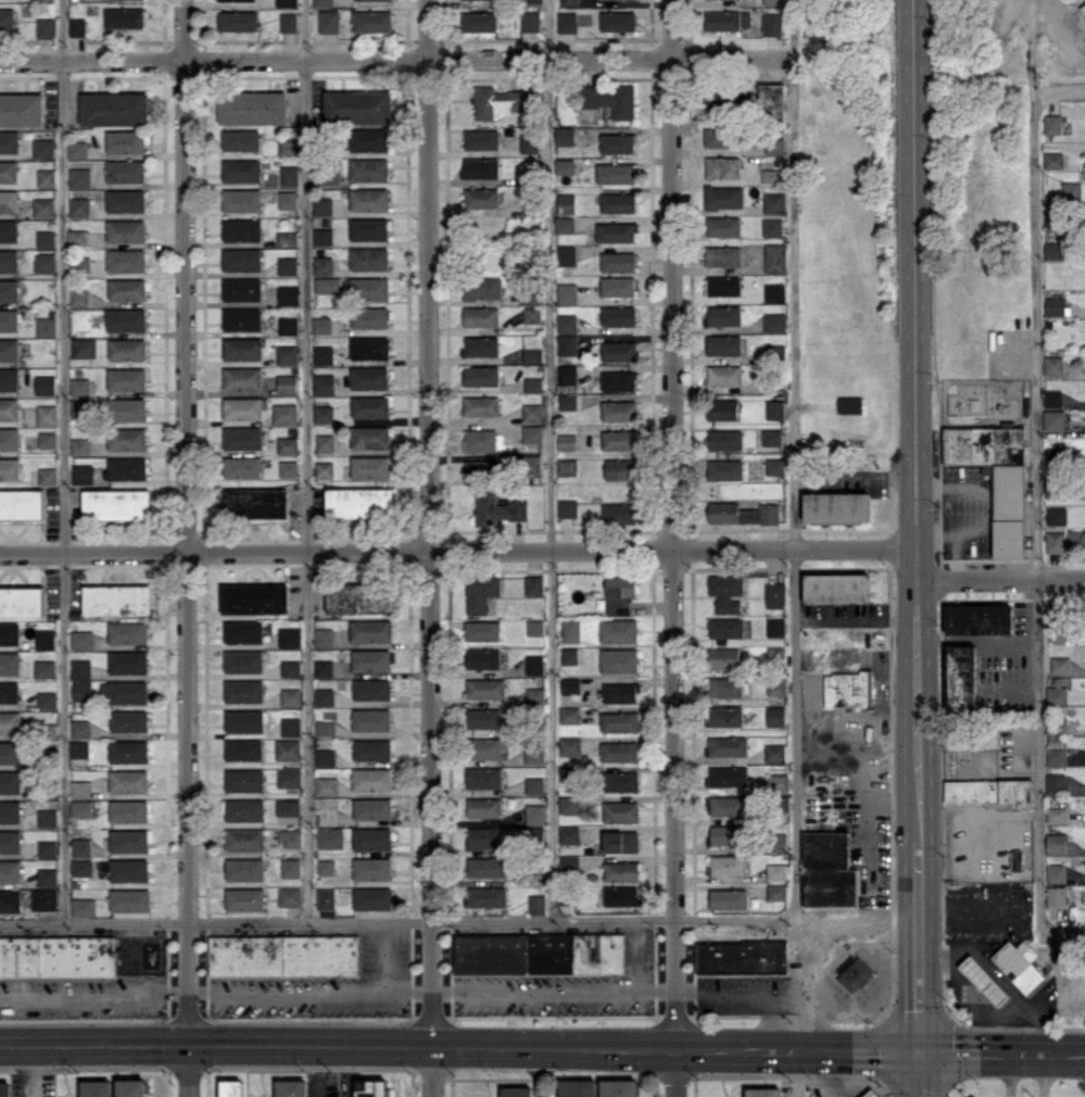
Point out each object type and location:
building: (234, 0)
building: (772, 1)
building: (287, 2)
building: (323, 2)
building: (569, 2)
building: (124, 17)
building: (7, 18)
road: (1068, 18)
building: (727, 20)
building: (238, 21)
building: (328, 21)
building: (371, 21)
building: (478, 21)
building: (529, 21)
building: (617, 21)
building: (288, 22)
building: (566, 22)
building: (771, 24)
building: (77, 26)
building: (46, 27)
road: (395, 60)
road: (1060, 91)
building: (610, 99)
building: (770, 100)
building: (499, 101)
building: (252, 106)
building: (357, 106)
building: (114, 108)
building: (22, 109)
building: (1052, 124)
building: (564, 135)
building: (719, 137)
building: (241, 139)
building: (368, 139)
building: (480, 139)
building: (9, 141)
building: (126, 141)
building: (529, 142)
building: (617, 142)
building: (773, 146)
building: (288, 147)
building: (43, 148)
building: (78, 149)
building: (1054, 160)
building: (564, 165)
building: (722, 166)
building: (480, 167)
building: (241, 169)
building: (369, 169)
building: (9, 171)
building: (126, 171)
building: (615, 173)
building: (289, 175)
building: (770, 175)
building: (326, 176)
building: (47, 177)
building: (80, 178)
building: (1071, 189)
building: (481, 197)
building: (723, 197)
building: (287, 199)
building: (369, 199)
building: (126, 200)
building: (242, 200)
building: (9, 201)
building: (566, 202)
building: (618, 202)
building: (773, 202)
building: (323, 205)
building: (45, 206)
building: (79, 206)
building: (564, 224)
building: (723, 226)
building: (771, 226)
building: (369, 228)
building: (242, 229)
building: (9, 230)
building: (126, 230)
building: (616, 231)
building: (323, 236)
building: (77, 237)
building: (46, 238)
building: (287, 238)
building: (1055, 250)
building: (566, 255)
building: (722, 255)
building: (774, 257)
building: (242, 259)
building: (369, 259)
building: (126, 260)
building: (9, 261)
building: (45, 262)
building: (618, 262)
building: (80, 265)
building: (288, 265)
building: (323, 265)
building: (327, 285)
building: (618, 286)
building: (722, 286)
building: (242, 288)
building: (369, 288)
building: (482, 288)
building: (127, 289)
building: (9, 290)
building: (567, 292)
building: (774, 292)
building: (288, 294)
building: (79, 297)
building: (1055, 305)
building: (532, 315)
building: (618, 315)
building: (724, 315)
building: (481, 316)
building: (370, 317)
building: (242, 318)
building: (9, 319)
building: (126, 319)
building: (774, 321)
building: (567, 323)
building: (288, 325)
building: (321, 325)
building: (47, 326)
building: (567, 344)
building: (723, 344)
building: (481, 345)
building: (84, 348)
building: (242, 348)
building: (370, 348)
building: (532, 348)
building: (9, 349)
building: (127, 349)
building: (619, 351)
building: (287, 354)
building: (324, 354)
building: (1052, 366)
building: (568, 374)
building: (724, 375)
building: (481, 376)
building: (369, 377)
building: (9, 378)
building: (242, 378)
building: (127, 379)
building: (618, 380)
building: (288, 383)
building: (324, 383)
building: (46, 384)
building: (533, 384)
building: (80, 386)
building: (1052, 398)
building: (568, 401)
building: (849, 404)
building: (481, 405)
building: (370, 406)
building: (79, 407)
building: (10, 408)
building: (774, 408)
building: (127, 409)
building: (260, 409)
building: (722, 409)
building: (619, 411)
building: (532, 412)
building: (47, 414)
building: (324, 414)
building: (1054, 419)
road: (916, 420)
building: (532, 433)
building: (370, 437)
building: (772, 437)
building: (243, 438)
building: (9, 439)
building: (48, 439)
building: (127, 439)
building: (724, 439)
building: (482, 440)
building: (619, 440)
building: (567, 441)
building: (326, 443)
building: (288, 444)
building: (80, 445)
road: (793, 459)
road: (63, 461)
road: (305, 461)
road: (555, 461)
building: (531, 464)
building: (774, 466)
building: (242, 467)
building: (370, 467)
building: (568, 467)
building: (10, 468)
building: (127, 468)
building: (289, 468)
building: (481, 468)
building: (621, 468)
building: (724, 469)
building: (325, 470)
building: (83, 474)
building: (48, 475)
building: (996, 476)
building: (359, 502)
building: (22, 503)
building: (116, 503)
building: (254, 503)
road: (987, 505)
building: (838, 506)
building: (567, 507)
building: (499, 508)
road: (1040, 512)
building: (619, 513)
building: (742, 513)
building: (1057, 515)
road: (187, 522)
road: (430, 524)
road: (673, 525)
building: (1083, 534)
building: (1055, 541)
road: (457, 550)
road: (1000, 579)
building: (534, 585)
building: (837, 588)
building: (481, 592)
building: (727, 592)
building: (620, 594)
building: (775, 594)
building: (361, 597)
building: (255, 598)
building: (117, 600)
building: (22, 601)
road: (855, 615)
building: (980, 619)
building: (535, 627)
building: (726, 627)
building: (775, 627)
building: (371, 630)
building: (482, 630)
building: (571, 630)
building: (619, 630)
building: (244, 631)
building: (128, 632)
building: (10, 633)
building: (290, 636)
building: (324, 636)
road: (1005, 638)
building: (46, 639)
building: (83, 639)
building: (570, 655)
building: (724, 657)
building: (483, 658)
building: (244, 660)
building: (371, 660)
building: (619, 660)
building: (128, 661)
building: (10, 663)
building: (534, 664)
building: (1061, 665)
building: (45, 668)
building: (80, 668)
building: (291, 668)
building: (324, 668)
building: (961, 677)
building: (777, 684)
building: (570, 685)
building: (726, 686)
building: (485, 688)
building: (373, 689)
building: (848, 689)
building: (81, 690)
building: (126, 691)
building: (244, 691)
road: (1034, 691)
building: (9, 692)
building: (620, 692)
building: (1057, 694)
building: (535, 695)
building: (291, 696)
building: (325, 696)
building: (47, 699)
building: (569, 715)
building: (727, 716)
building: (775, 716)
building: (371, 719)
building: (483, 719)
building: (129, 720)
building: (244, 720)
building: (619, 721)
building: (10, 722)
building: (291, 727)
building: (80, 728)
building: (326, 728)
building: (570, 745)
building: (728, 745)
building: (485, 747)
building: (79, 748)
building: (373, 748)
building: (244, 749)
building: (288, 749)
building: (129, 751)
building: (11, 752)
building: (619, 752)
building: (775, 753)
building: (1057, 754)
building: (534, 755)
building: (325, 757)
building: (728, 776)
building: (484, 777)
building: (289, 778)
building: (371, 779)
building: (244, 780)
building: (129, 781)
building: (621, 781)
building: (10, 782)
building: (779, 782)
building: (1056, 783)
building: (534, 784)
building: (327, 785)
building: (80, 789)
building: (1015, 790)
building: (569, 804)
building: (729, 805)
building: (288, 807)
building: (484, 807)
building: (81, 808)
building: (373, 808)
building: (244, 809)
building: (129, 810)
building: (10, 811)
building: (621, 811)
road: (989, 812)
building: (535, 814)
building: (328, 815)
building: (1057, 815)
building: (48, 818)
building: (569, 834)
building: (726, 834)
building: (291, 837)
building: (330, 837)
building: (482, 837)
building: (373, 838)
building: (129, 840)
building: (244, 840)
building: (10, 841)
building: (621, 841)
building: (778, 842)
building: (1057, 843)
building: (81, 847)
building: (48, 848)
building: (569, 862)
building: (727, 865)
building: (81, 867)
building: (291, 867)
building: (326, 867)
building: (487, 867)
building: (373, 868)
building: (127, 869)
building: (244, 869)
building: (828, 869)
building: (10, 870)
building: (621, 871)
building: (777, 871)
building: (1057, 872)
building: (48, 877)
building: (777, 891)
building: (621, 895)
building: (1057, 895)
building: (290, 896)
building: (487, 896)
building: (373, 897)
building: (245, 898)
building: (326, 898)
building: (728, 898)
building: (45, 899)
building: (130, 899)
building: (10, 900)
building: (537, 904)
road: (966, 906)
building: (83, 907)
road: (396, 922)
road: (1063, 933)
road: (813, 937)
road: (919, 947)
building: (540, 953)
building: (285, 955)
road: (636, 955)
building: (58, 956)
road: (386, 956)
building: (742, 957)
building: (1020, 964)
building: (854, 972)
building: (985, 981)
road: (554, 988)
road: (311, 991)
road: (94, 993)
road: (750, 994)
traffic signals: (189, 1046)
road: (459, 1047)
traffic signals: (920, 1054)
road: (1002, 1054)
road: (189, 1071)
road: (30, 1072)
road: (349, 1072)
road: (434, 1072)
road: (540, 1072)
road: (677, 1073)
road: (796, 1074)
road: (835, 1074)
road: (920, 1075)
road: (1045, 1075)
building: (134, 1087)
building: (373, 1087)
building: (579, 1087)
building: (619, 1087)
building: (5, 1088)
building: (98, 1088)
building: (232, 1088)
building: (292, 1088)
building: (518, 1092)
building: (765, 1092)
building: (871, 1094)

